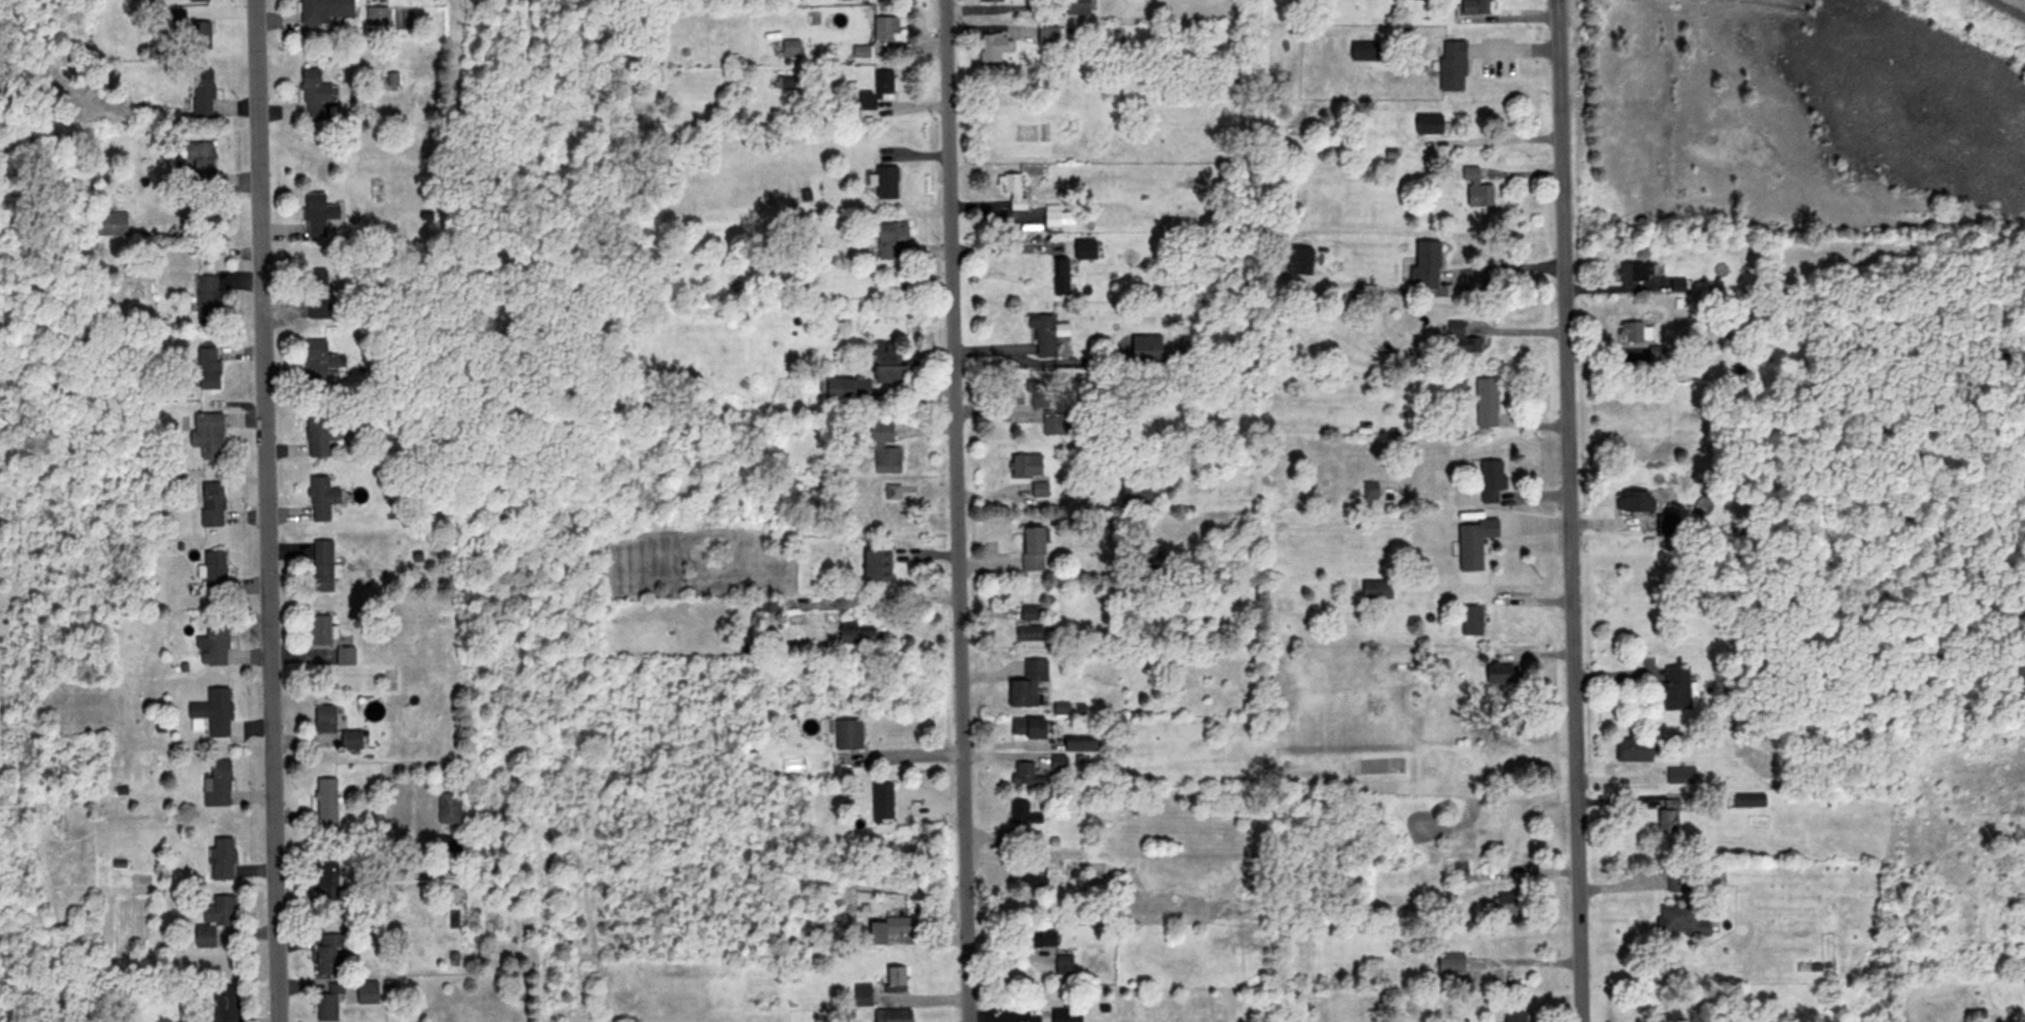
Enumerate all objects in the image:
building: (194, 1)
building: (989, 1)
building: (1473, 6)
building: (1076, 7)
building: (322, 11)
building: (375, 16)
building: (883, 28)
building: (198, 36)
building: (1046, 36)
road: (1521, 44)
building: (990, 47)
building: (789, 48)
building: (1363, 51)
building: (1450, 65)
building: (883, 82)
building: (200, 92)
building: (307, 98)
building: (1426, 125)
road: (1501, 139)
building: (195, 160)
building: (885, 183)
building: (1473, 189)
building: (1011, 190)
building: (316, 214)
building: (1051, 216)
building: (110, 224)
building: (889, 241)
road: (1004, 249)
building: (1083, 249)
building: (1298, 260)
building: (1424, 266)
road: (1505, 266)
building: (1633, 273)
building: (1059, 277)
building: (316, 294)
building: (206, 300)
building: (1045, 333)
building: (1633, 333)
building: (1462, 338)
building: (1144, 348)
building: (320, 363)
building: (889, 364)
building: (206, 368)
building: (1031, 385)
building: (845, 388)
building: (1484, 403)
building: (1058, 424)
building: (318, 434)
building: (206, 435)
building: (882, 450)
building: (1024, 464)
building: (1489, 482)
building: (1038, 489)
building: (1134, 492)
building: (320, 498)
building: (1634, 503)
building: (210, 505)
road: (959, 510)
road: (1572, 510)
road: (269, 511)
building: (1031, 549)
building: (1468, 549)
building: (1144, 553)
building: (875, 564)
building: (320, 566)
building: (213, 574)
building: (1375, 590)
road: (908, 598)
building: (1027, 614)
building: (1470, 621)
building: (318, 631)
building: (1028, 633)
building: (854, 636)
building: (211, 644)
building: (343, 657)
building: (1498, 674)
building: (1026, 683)
building: (1673, 688)
building: (212, 712)
building: (322, 720)
building: (1026, 729)
building: (846, 734)
building: (350, 740)
building: (1077, 745)
building: (1632, 750)
road: (905, 755)
building: (1056, 762)
building: (1025, 774)
building: (1674, 776)
building: (217, 783)
building: (324, 801)
building: (1745, 801)
building: (880, 803)
building: (448, 809)
building: (1022, 814)
building: (1666, 822)
building: (1040, 839)
building: (447, 844)
building: (220, 859)
building: (1034, 874)
building: (325, 877)
building: (1673, 883)
building: (1508, 903)
building: (1682, 921)
building: (215, 924)
building: (888, 929)
building: (1037, 939)
building: (1512, 942)
building: (328, 955)
building: (1062, 965)
building: (894, 979)
building: (365, 992)
building: (860, 995)
building: (328, 1002)
building: (224, 1005)
building: (1847, 1014)
building: (895, 1015)
building: (1064, 1015)
building: (1513, 1015)

